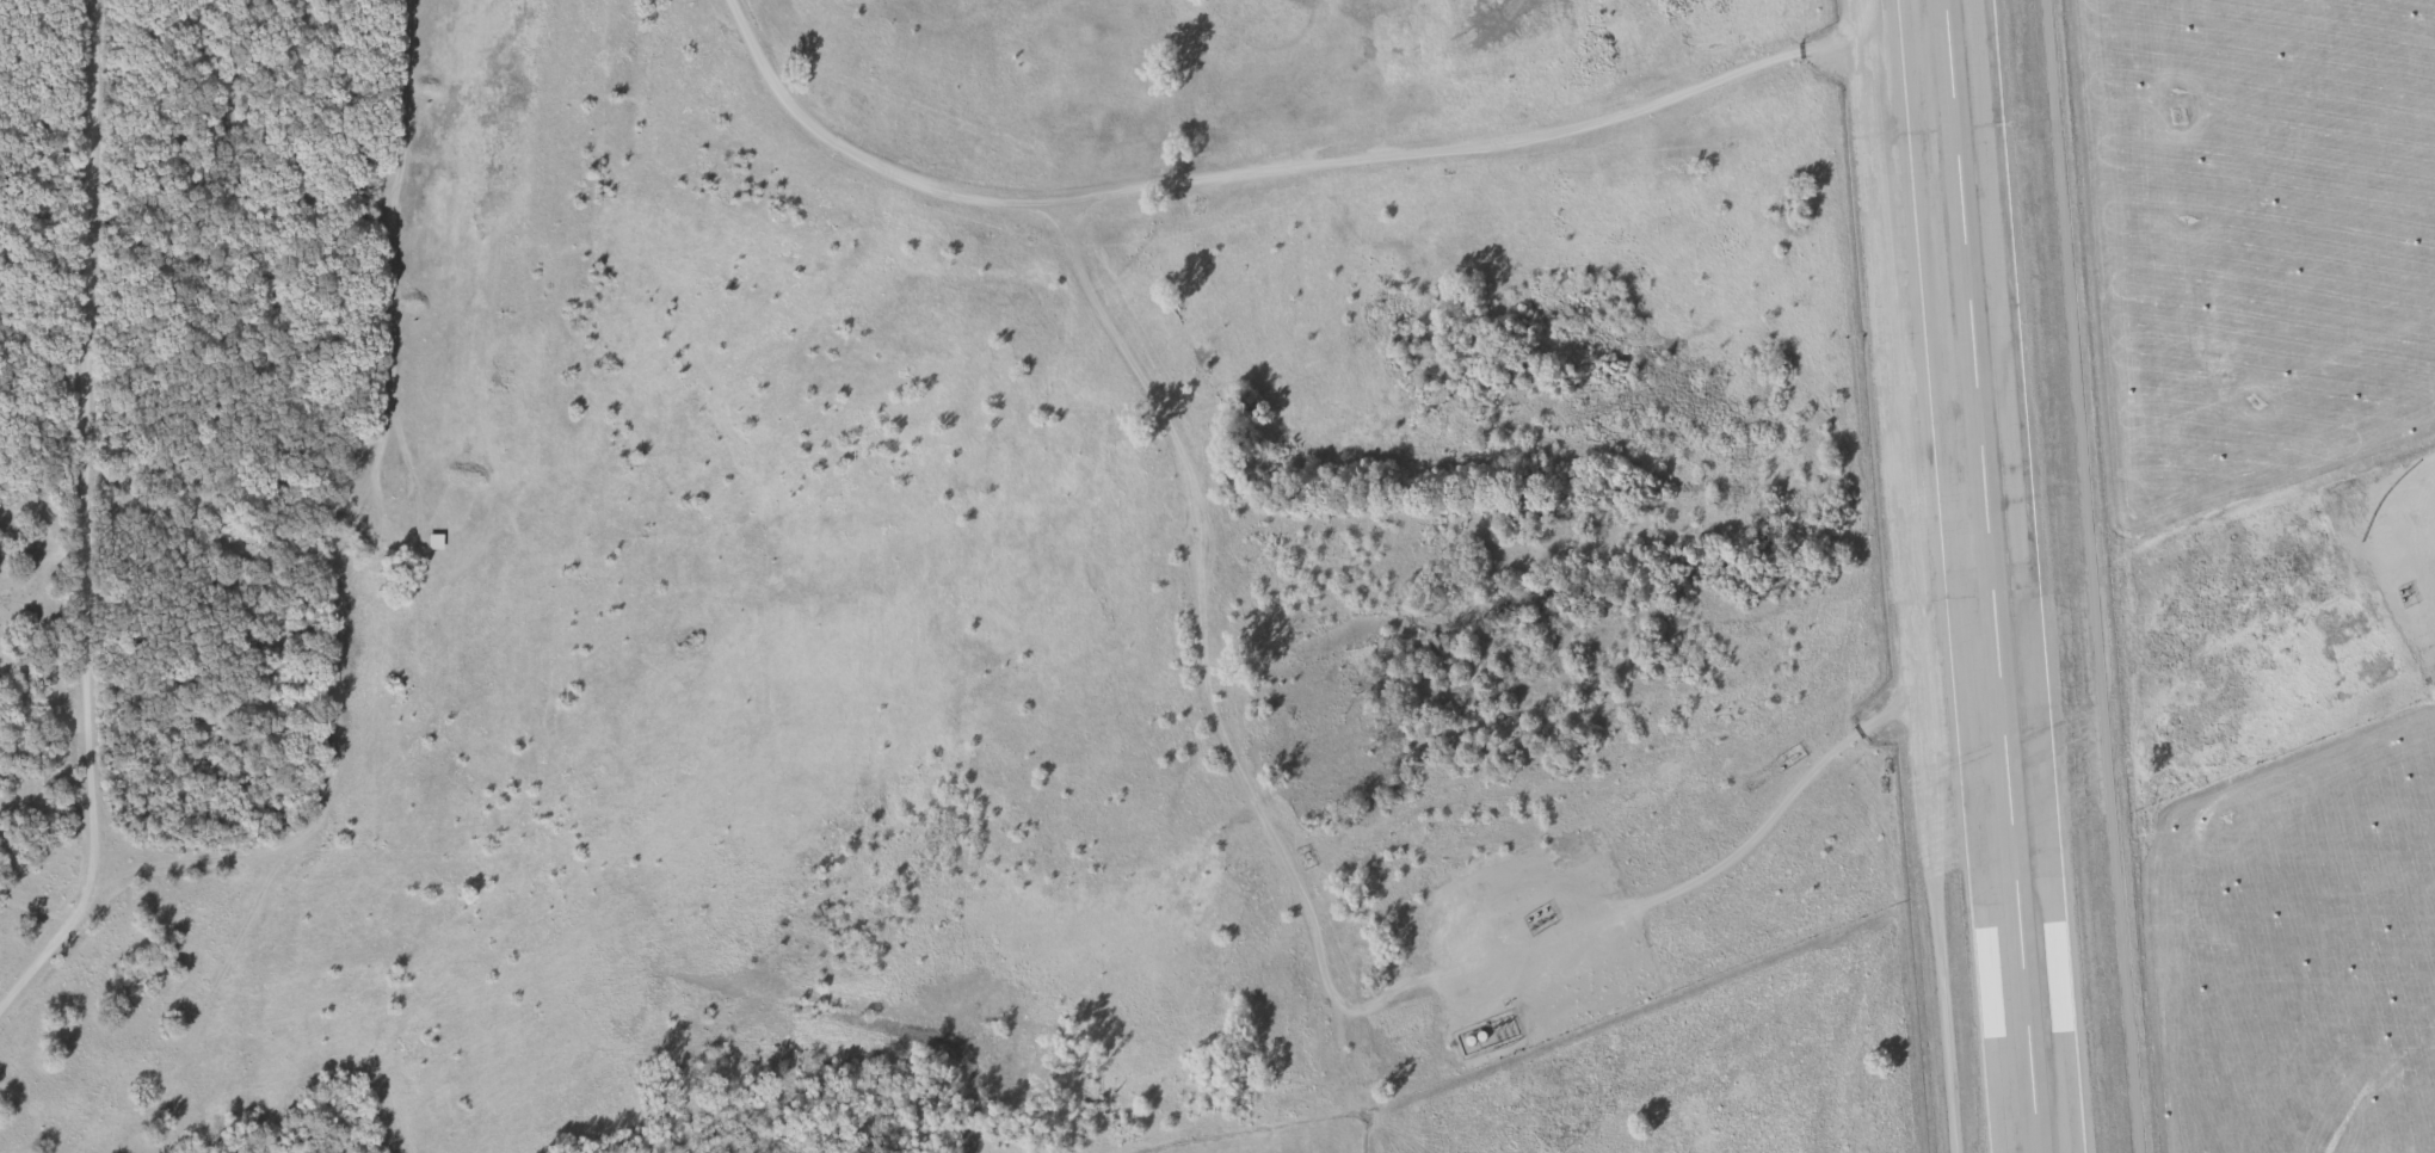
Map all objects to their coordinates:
road: (1849, 27)
road: (1243, 175)
road: (1079, 226)
road: (389, 235)
road: (84, 479)
road: (408, 479)
building: (2374, 507)
building: (432, 541)
airport: (1992, 574)
road: (31, 575)
airport runway: (1997, 575)
road: (1901, 600)
road: (1201, 639)
road: (329, 771)
road: (1808, 775)
road: (29, 890)
road: (1533, 945)
road: (24, 978)
building: (1480, 1035)

